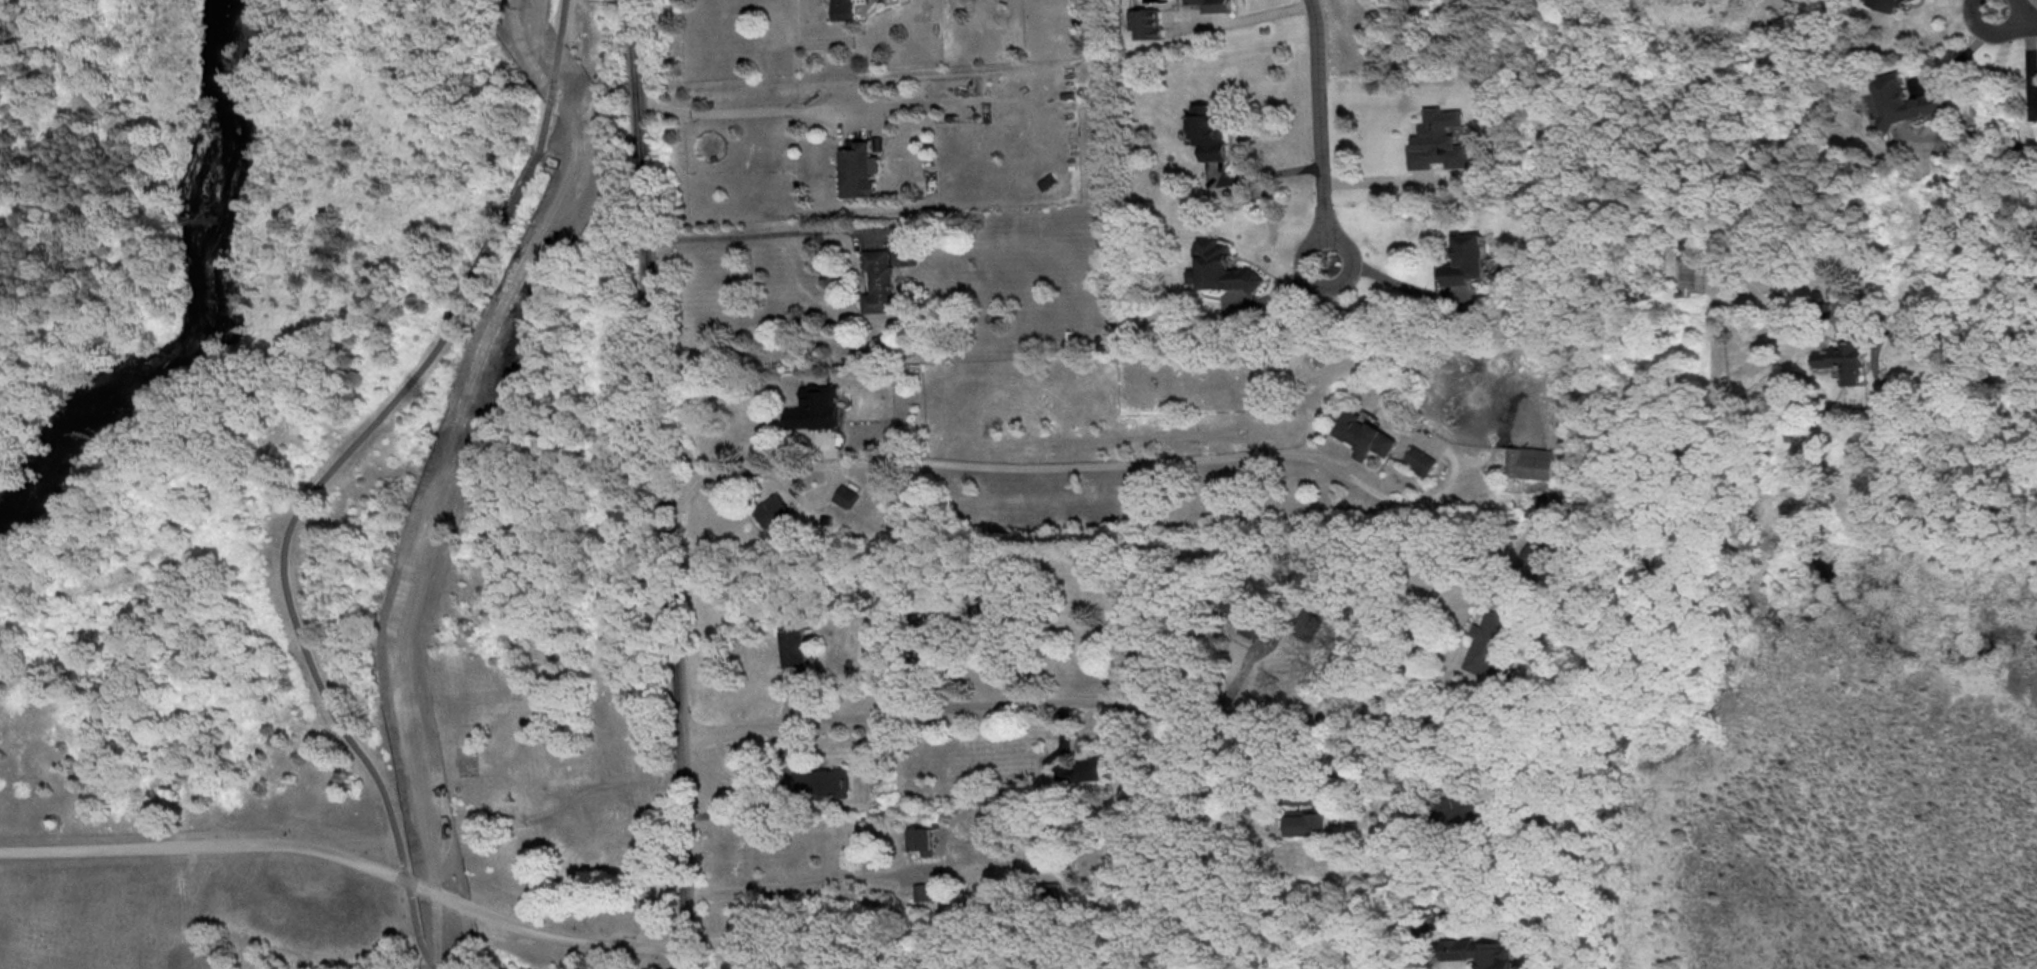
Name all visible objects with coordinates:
building: (1889, 4)
building: (1215, 5)
building: (844, 9)
road: (2018, 16)
road: (1242, 18)
building: (1146, 22)
road: (1966, 52)
road: (553, 75)
building: (1901, 99)
road: (736, 110)
building: (1209, 129)
road: (1325, 129)
building: (1440, 140)
building: (859, 166)
road: (1267, 172)
road: (1381, 181)
road: (758, 232)
road: (494, 234)
building: (1466, 259)
building: (1222, 267)
building: (880, 280)
road: (1396, 282)
river: (209, 310)
building: (1824, 351)
building: (1842, 359)
road: (1890, 384)
building: (817, 406)
building: (1365, 434)
building: (1420, 459)
road: (986, 461)
building: (1534, 461)
road: (668, 483)
park: (329, 490)
building: (845, 495)
road: (1394, 499)
building: (773, 509)
building: (1539, 558)
building: (1250, 623)
building: (1304, 625)
road: (295, 629)
building: (1493, 641)
building: (794, 644)
road: (1420, 662)
road: (1032, 699)
building: (1080, 769)
building: (821, 782)
road: (1304, 794)
road: (773, 807)
building: (1307, 821)
building: (923, 839)
road: (349, 859)
road: (796, 882)
building: (1053, 889)
building: (923, 890)
building: (976, 896)
building: (1478, 952)

